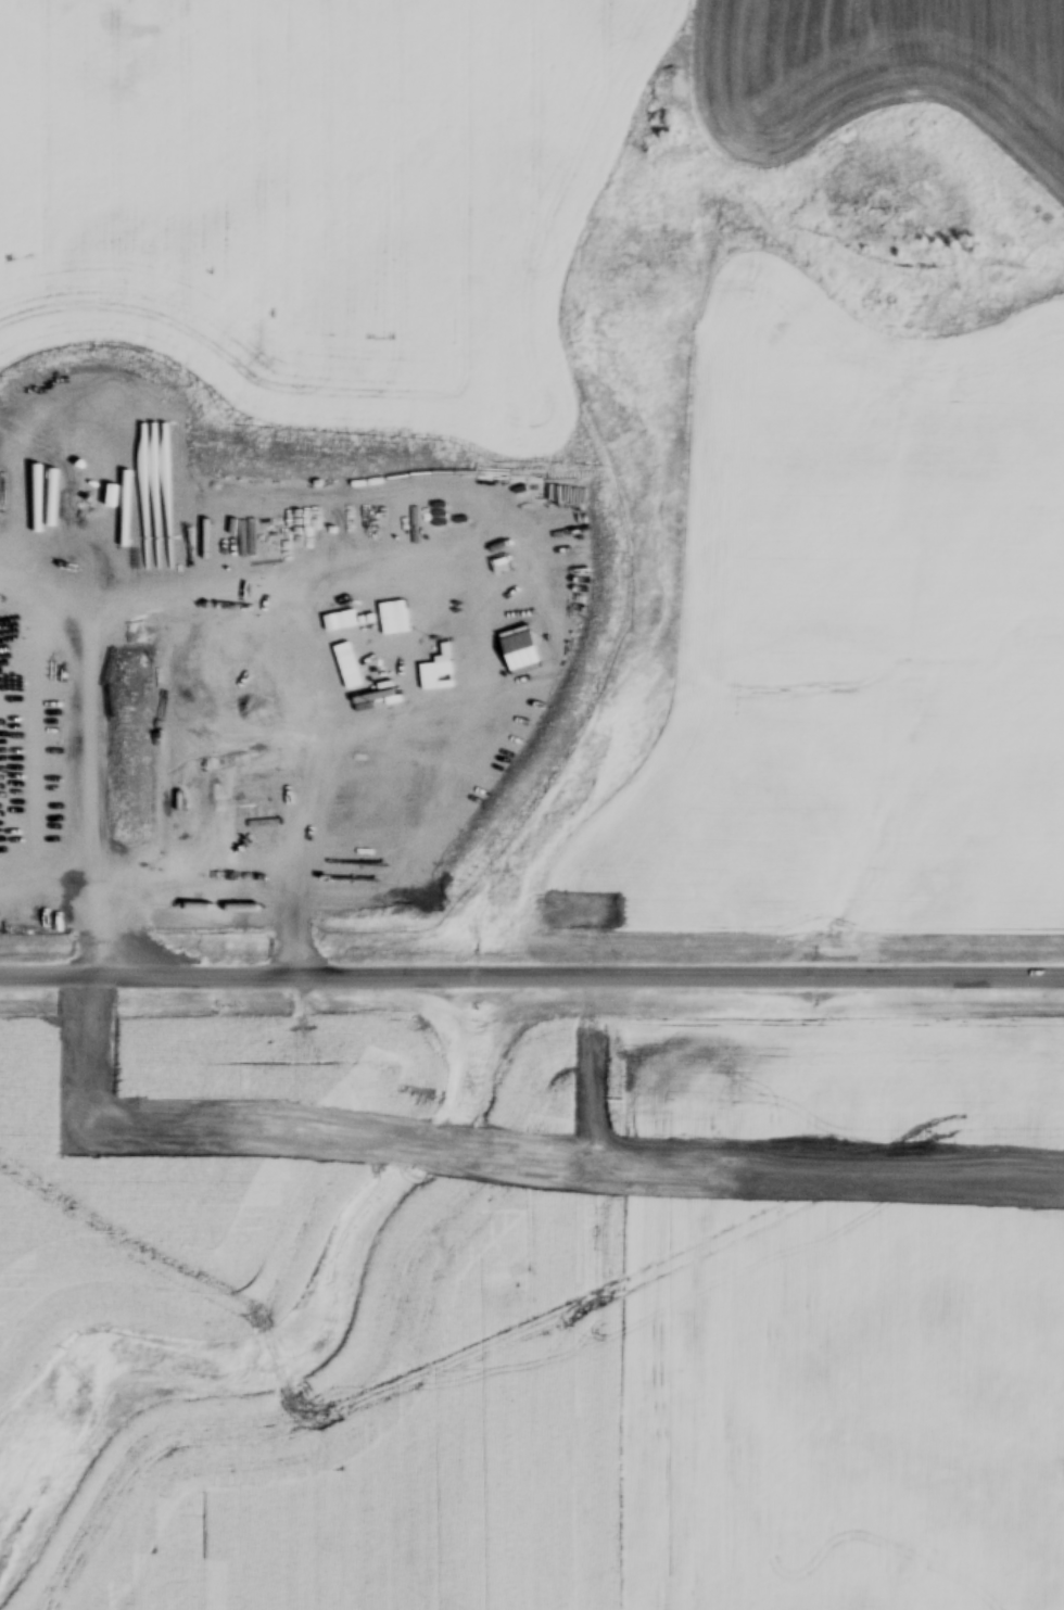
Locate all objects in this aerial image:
river: (921, 225)
wind turbine: (90, 493)
road: (532, 968)

